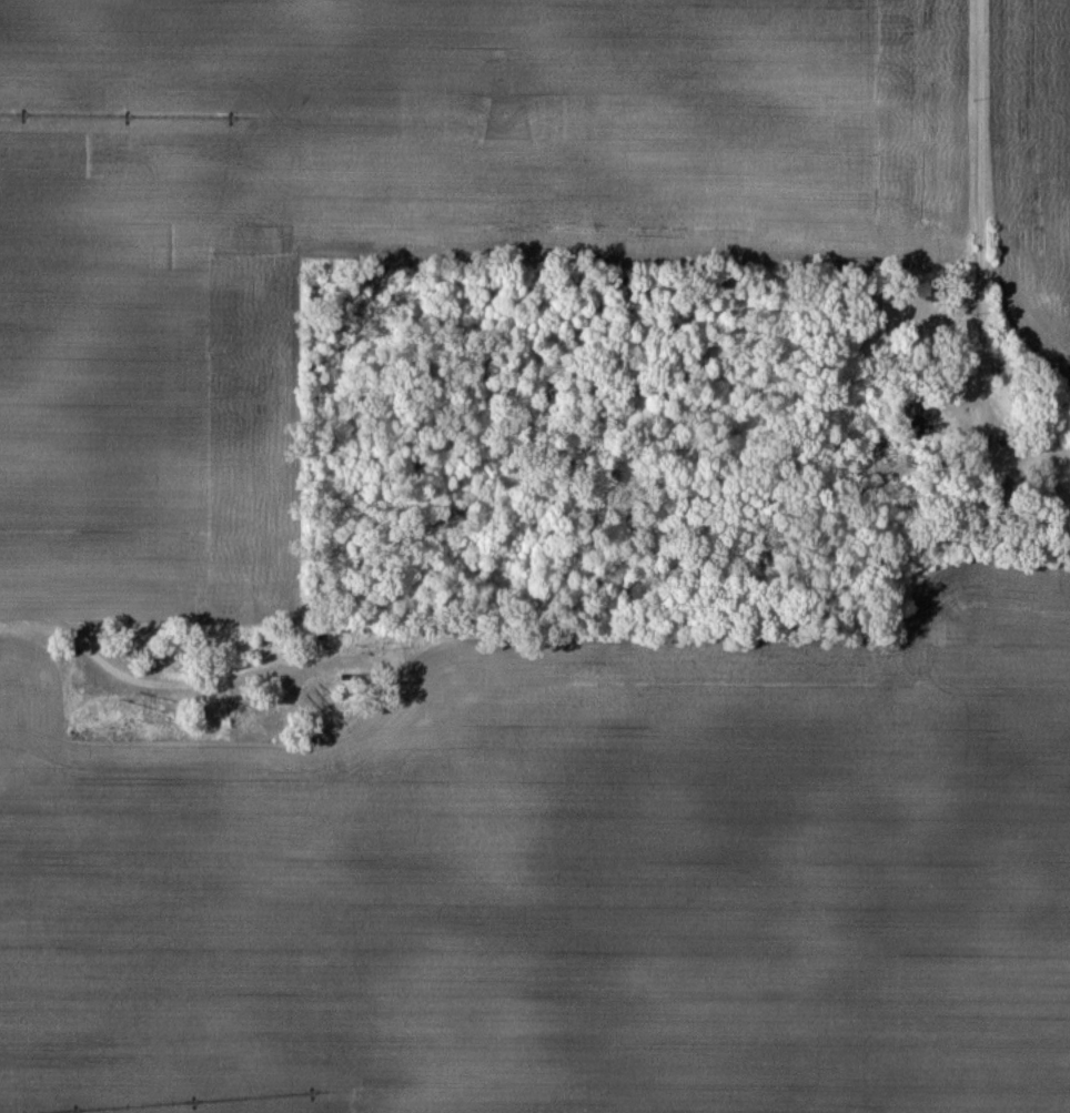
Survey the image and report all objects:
road: (979, 230)
building: (912, 419)

